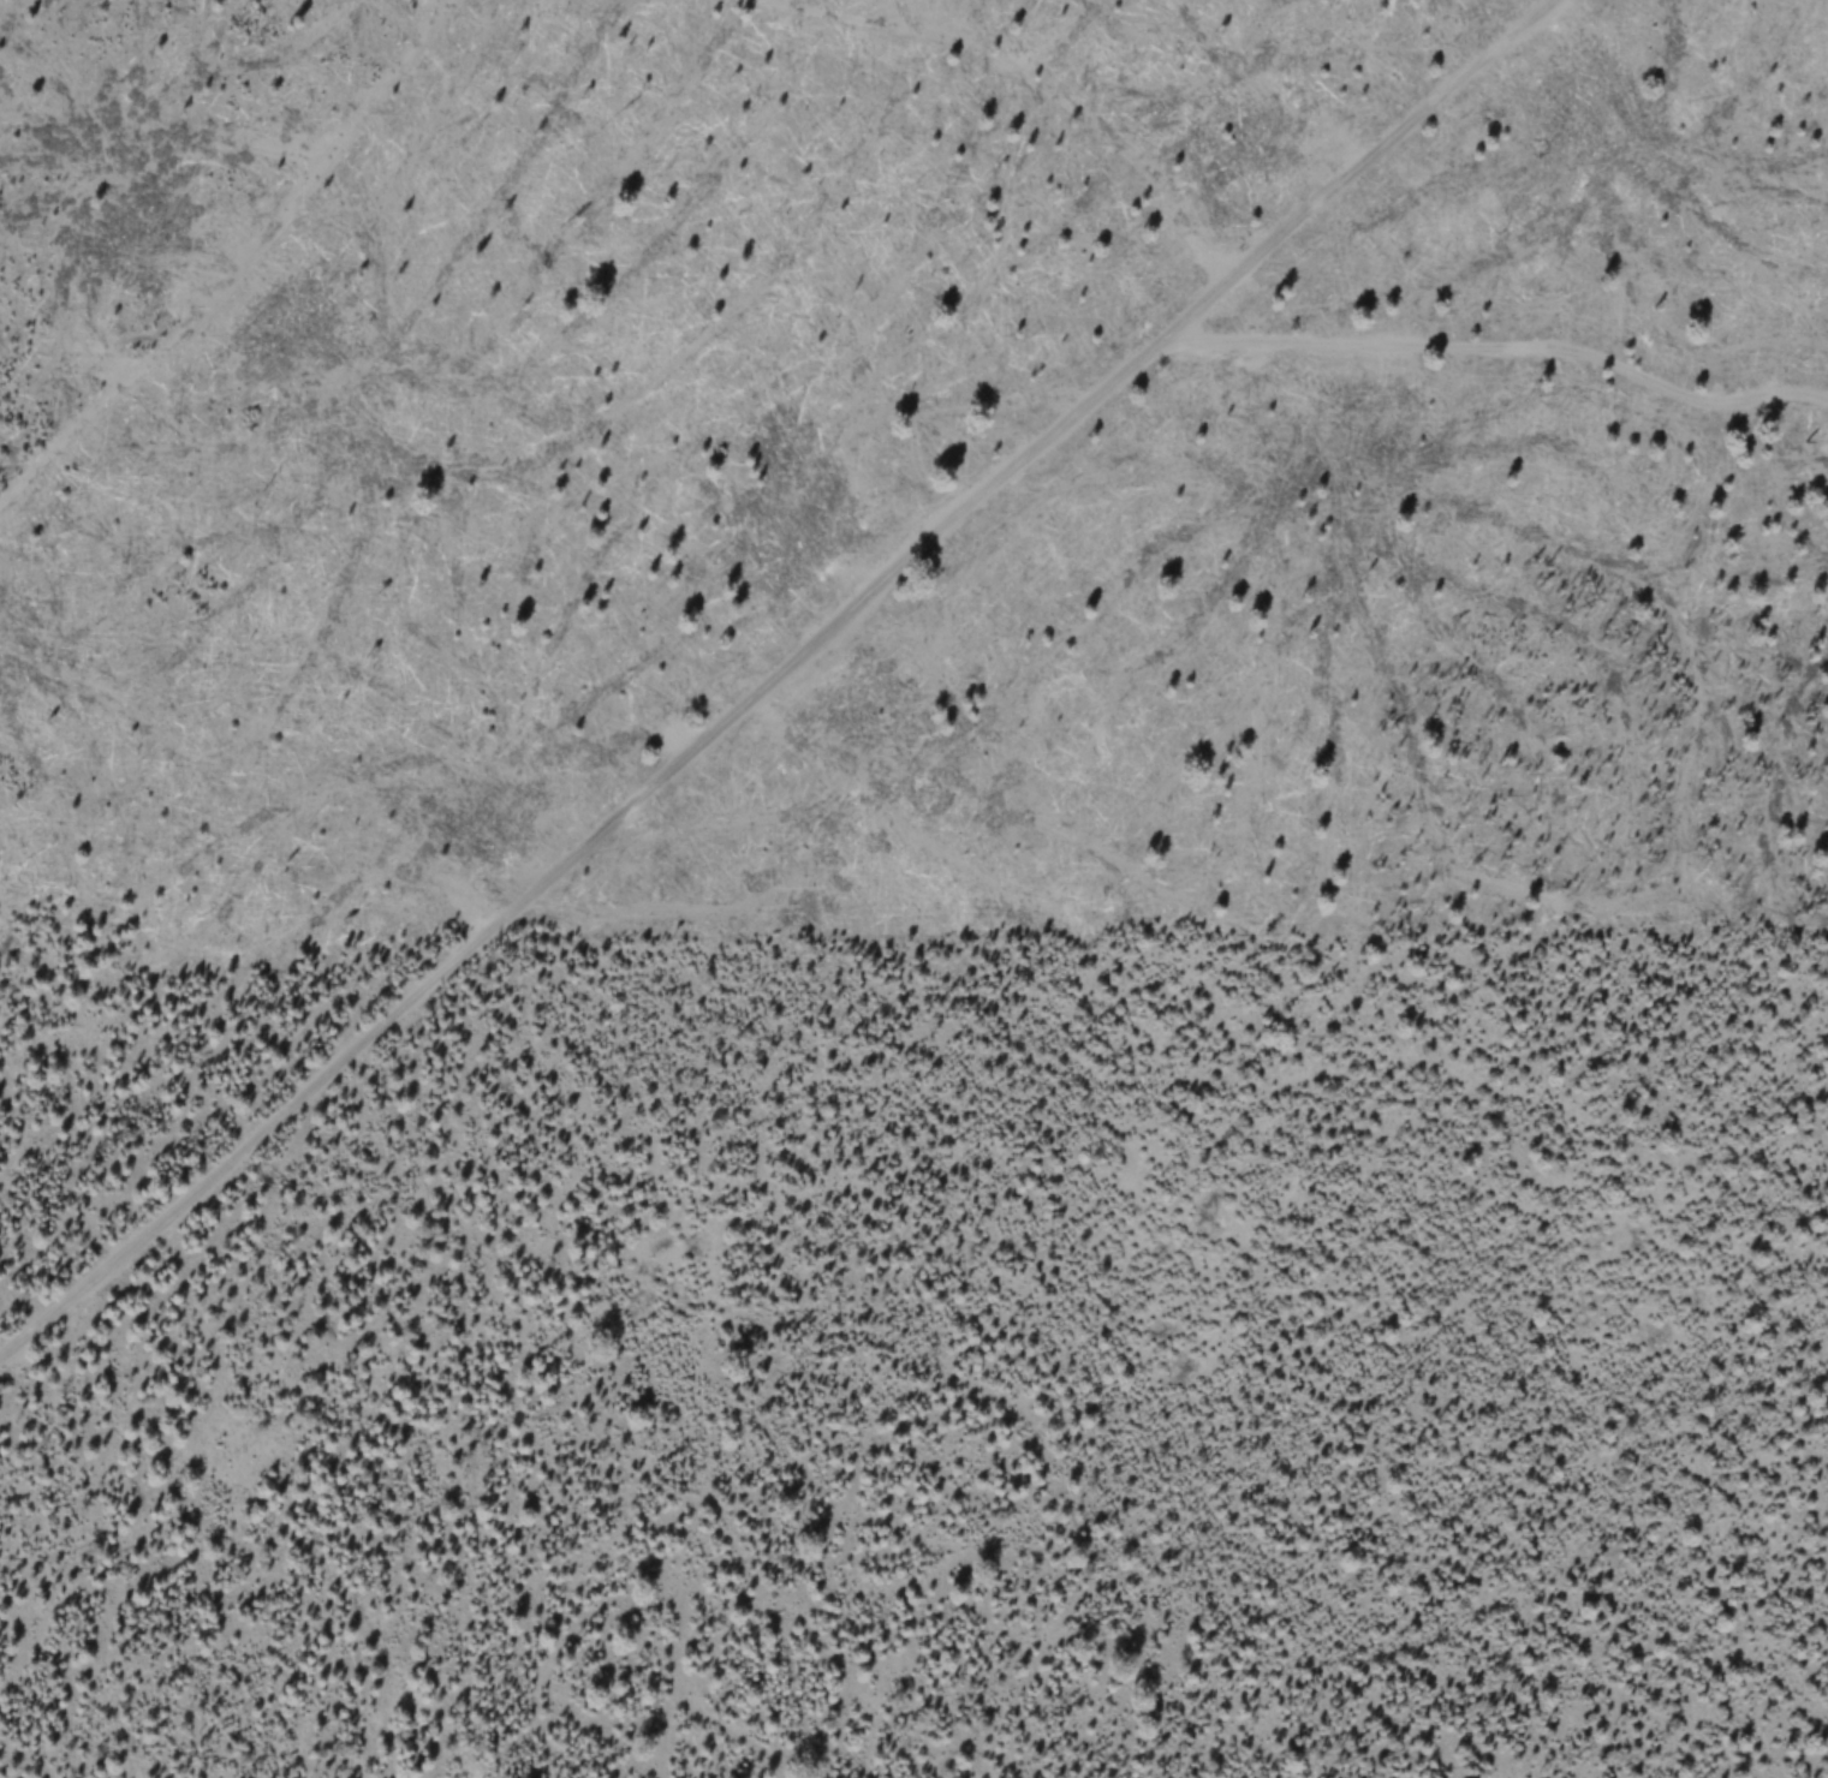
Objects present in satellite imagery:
road: (1500, 347)
road: (774, 675)

